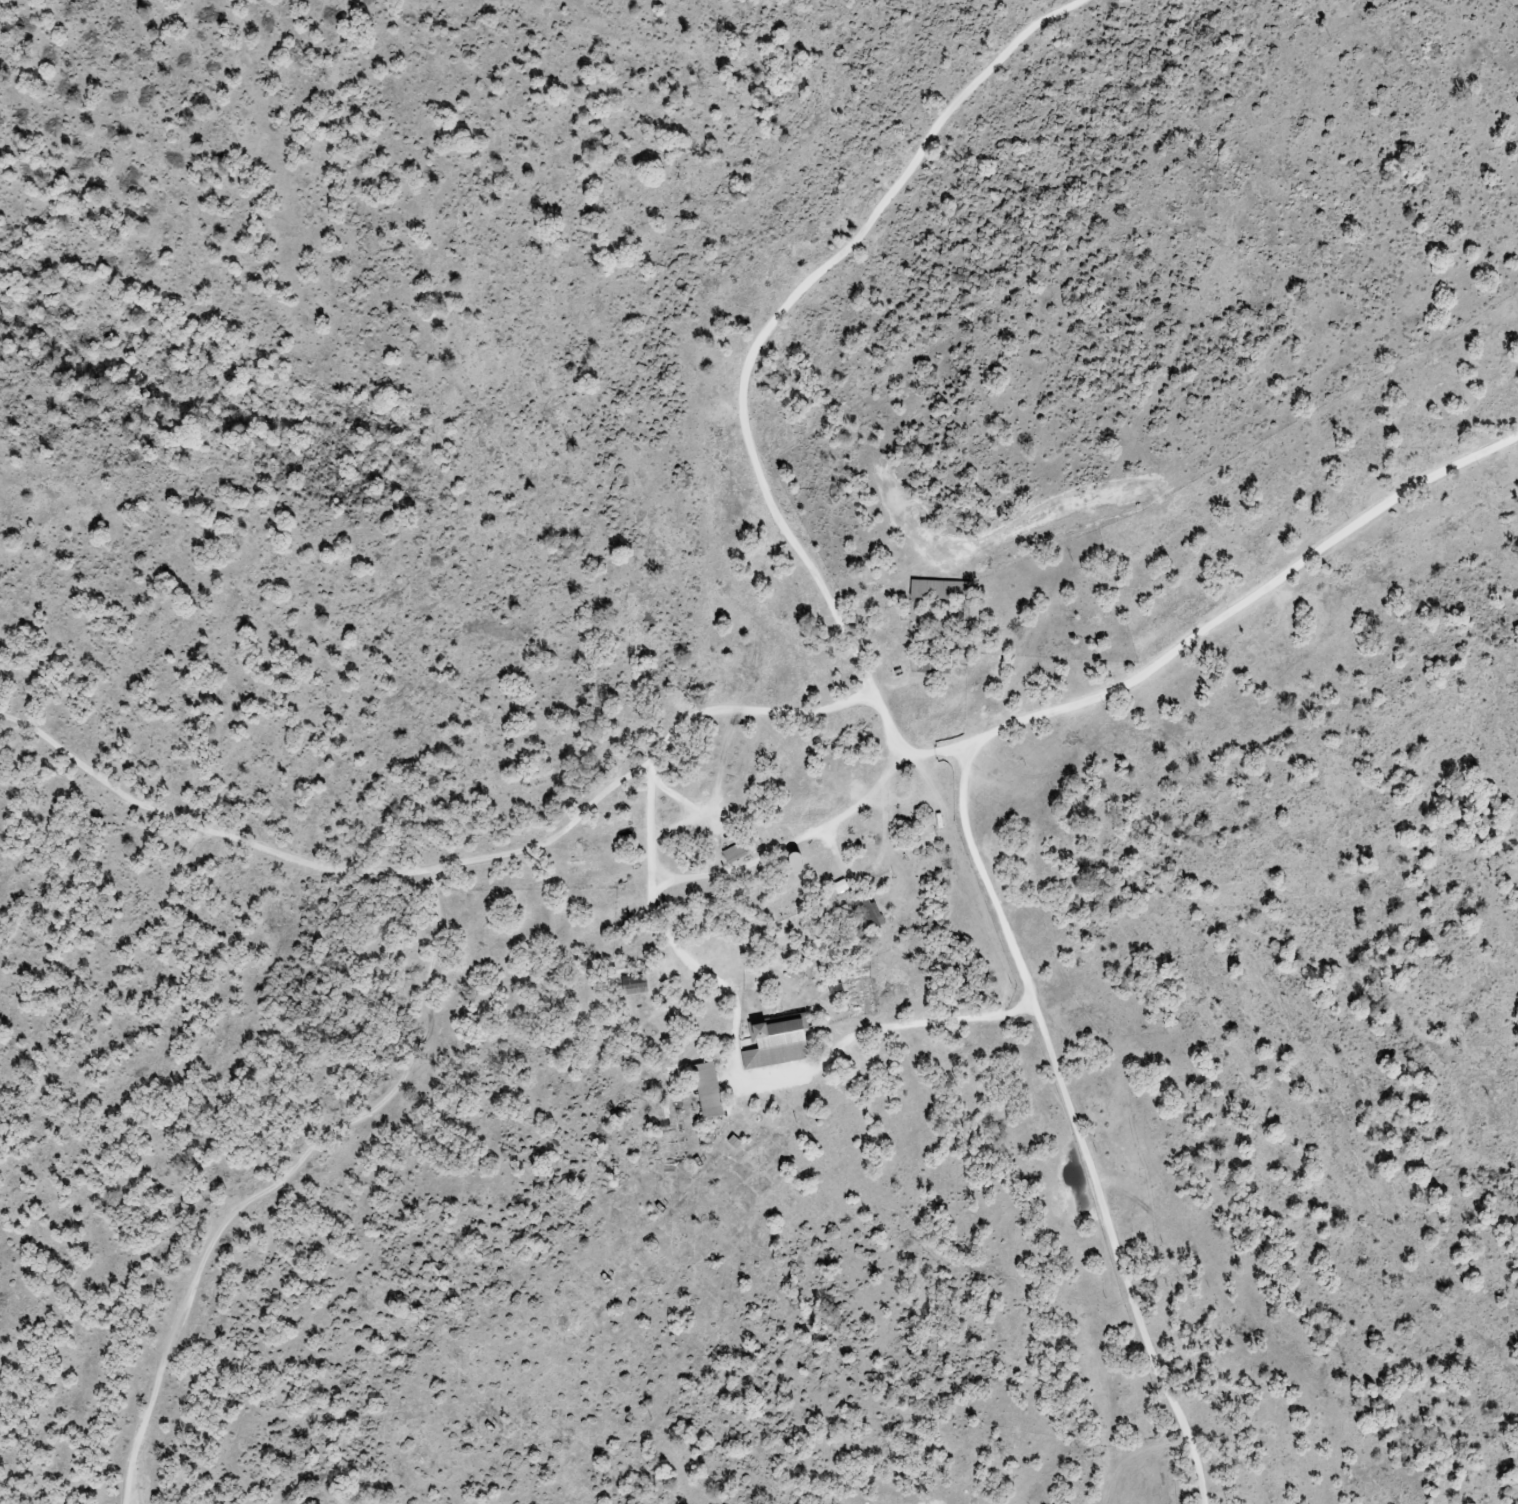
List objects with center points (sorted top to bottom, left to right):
road: (782, 310)
building: (939, 590)
road: (1186, 621)
road: (671, 830)
building: (733, 853)
building: (633, 985)
building: (775, 1042)
building: (707, 1090)
road: (1092, 1125)
road: (278, 1162)

